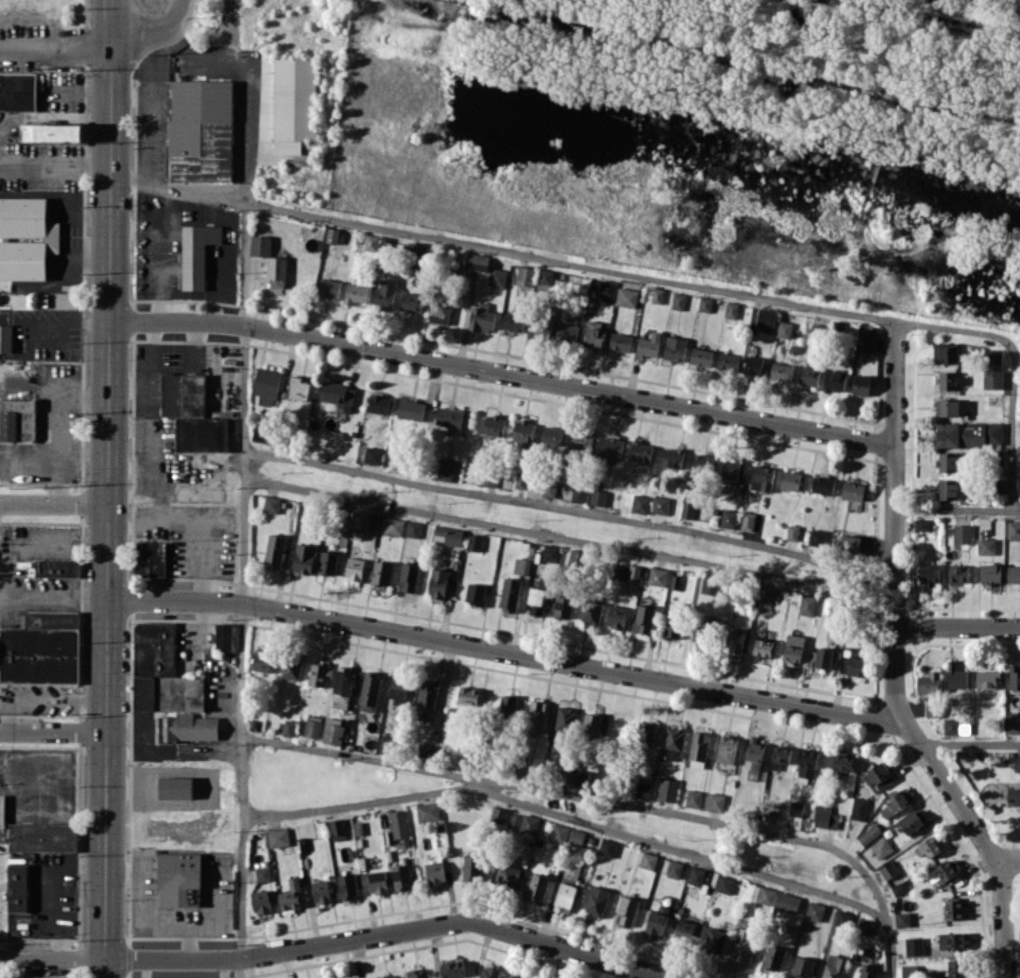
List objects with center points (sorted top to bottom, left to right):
road: (154, 30)
road: (56, 55)
road: (248, 88)
building: (18, 90)
road: (130, 98)
road: (148, 123)
building: (200, 130)
building: (52, 132)
road: (55, 160)
building: (332, 235)
building: (26, 238)
building: (371, 242)
building: (260, 245)
building: (196, 253)
building: (478, 261)
building: (276, 272)
building: (525, 275)
road: (642, 275)
building: (497, 277)
building: (547, 279)
building: (329, 287)
building: (607, 288)
building: (355, 293)
building: (384, 293)
building: (657, 295)
building: (626, 297)
building: (412, 301)
building: (678, 301)
building: (705, 303)
building: (731, 309)
building: (440, 310)
building: (482, 317)
road: (60, 319)
building: (766, 319)
building: (513, 321)
building: (784, 329)
building: (539, 330)
building: (566, 332)
building: (594, 333)
building: (5, 338)
building: (620, 341)
building: (865, 342)
building: (649, 344)
building: (675, 348)
building: (945, 352)
building: (701, 356)
building: (992, 356)
building: (727, 361)
building: (753, 365)
road: (502, 370)
building: (781, 371)
building: (809, 376)
building: (992, 379)
building: (947, 380)
building: (835, 381)
building: (861, 384)
building: (266, 385)
building: (297, 388)
building: (337, 393)
building: (378, 404)
building: (947, 407)
building: (411, 409)
building: (192, 413)
building: (449, 416)
building: (18, 419)
building: (494, 425)
building: (523, 430)
building: (261, 431)
road: (60, 433)
building: (967, 433)
building: (551, 436)
building: (581, 441)
building: (612, 445)
building: (641, 451)
road: (84, 453)
building: (672, 457)
building: (947, 461)
building: (702, 462)
building: (445, 469)
building: (732, 469)
building: (761, 477)
building: (521, 480)
building: (790, 480)
building: (823, 485)
road: (108, 488)
building: (549, 489)
building: (946, 489)
building: (852, 490)
building: (578, 494)
building: (598, 497)
building: (639, 503)
building: (271, 504)
building: (660, 504)
road: (53, 505)
road: (552, 506)
road: (956, 508)
building: (687, 509)
building: (728, 518)
building: (360, 519)
building: (748, 521)
building: (922, 524)
building: (394, 526)
road: (189, 528)
building: (413, 529)
building: (1013, 529)
building: (792, 532)
building: (961, 533)
road: (550, 534)
building: (447, 535)
building: (817, 536)
building: (474, 542)
road: (51, 543)
building: (849, 543)
building: (986, 545)
building: (274, 550)
building: (150, 558)
building: (304, 558)
building: (576, 558)
building: (327, 562)
building: (521, 565)
building: (56, 568)
building: (354, 568)
building: (381, 572)
building: (620, 572)
building: (633, 573)
building: (929, 573)
building: (957, 574)
building: (1013, 574)
building: (991, 575)
building: (657, 576)
building: (408, 577)
road: (874, 579)
road: (246, 580)
building: (675, 582)
building: (437, 583)
building: (710, 585)
building: (475, 593)
road: (53, 594)
building: (509, 594)
building: (764, 594)
building: (535, 601)
building: (806, 604)
building: (562, 606)
building: (591, 612)
building: (616, 616)
building: (643, 619)
building: (672, 625)
road: (956, 625)
building: (697, 634)
building: (223, 636)
building: (734, 638)
building: (762, 647)
building: (793, 647)
building: (41, 648)
road: (507, 652)
building: (824, 657)
building: (261, 660)
building: (853, 664)
road: (894, 665)
building: (291, 667)
building: (318, 673)
building: (956, 676)
building: (1014, 677)
building: (987, 678)
building: (928, 682)
building: (342, 684)
building: (168, 685)
building: (398, 689)
building: (369, 691)
building: (428, 693)
building: (469, 695)
building: (507, 706)
building: (932, 709)
building: (536, 714)
building: (564, 717)
building: (1012, 722)
building: (592, 724)
building: (950, 725)
building: (310, 726)
building: (288, 727)
building: (333, 730)
road: (53, 733)
building: (645, 733)
road: (966, 740)
building: (673, 742)
building: (699, 743)
building: (383, 745)
building: (726, 749)
building: (427, 751)
building: (754, 752)
building: (779, 755)
building: (463, 757)
building: (1016, 762)
building: (807, 763)
building: (842, 763)
building: (878, 775)
building: (579, 777)
building: (175, 787)
road: (545, 788)
building: (667, 789)
building: (643, 790)
building: (1014, 796)
building: (693, 798)
road: (368, 800)
building: (715, 802)
building: (897, 802)
building: (795, 808)
building: (858, 808)
building: (772, 810)
building: (427, 812)
building: (498, 814)
building: (825, 816)
building: (514, 821)
building: (913, 821)
building: (398, 823)
building: (528, 824)
building: (337, 829)
building: (558, 833)
building: (869, 834)
building: (42, 836)
building: (278, 837)
building: (575, 837)
building: (606, 847)
building: (881, 847)
building: (926, 847)
road: (683, 851)
building: (647, 860)
road: (1010, 864)
building: (470, 867)
building: (674, 868)
building: (888, 869)
building: (941, 869)
building: (435, 872)
building: (262, 873)
building: (401, 876)
building: (507, 876)
building: (695, 876)
building: (177, 877)
building: (377, 881)
building: (724, 884)
building: (537, 885)
building: (17, 886)
building: (347, 887)
building: (899, 887)
building: (320, 891)
building: (291, 894)
building: (565, 894)
building: (757, 895)
building: (261, 901)
building: (596, 901)
building: (787, 902)
road: (881, 908)
building: (953, 909)
building: (626, 910)
building: (814, 911)
building: (842, 918)
building: (902, 918)
park: (1016, 918)
building: (657, 919)
building: (865, 926)
building: (684, 930)
road: (338, 940)
building: (714, 940)
building: (951, 940)
building: (744, 944)
building: (913, 945)
building: (773, 957)
building: (834, 966)
road: (242, 967)
building: (802, 967)
building: (957, 967)
building: (452, 968)
building: (865, 971)
building: (910, 971)
building: (489, 972)
building: (417, 974)
building: (387, 976)
building: (512, 976)
building: (355, 977)

